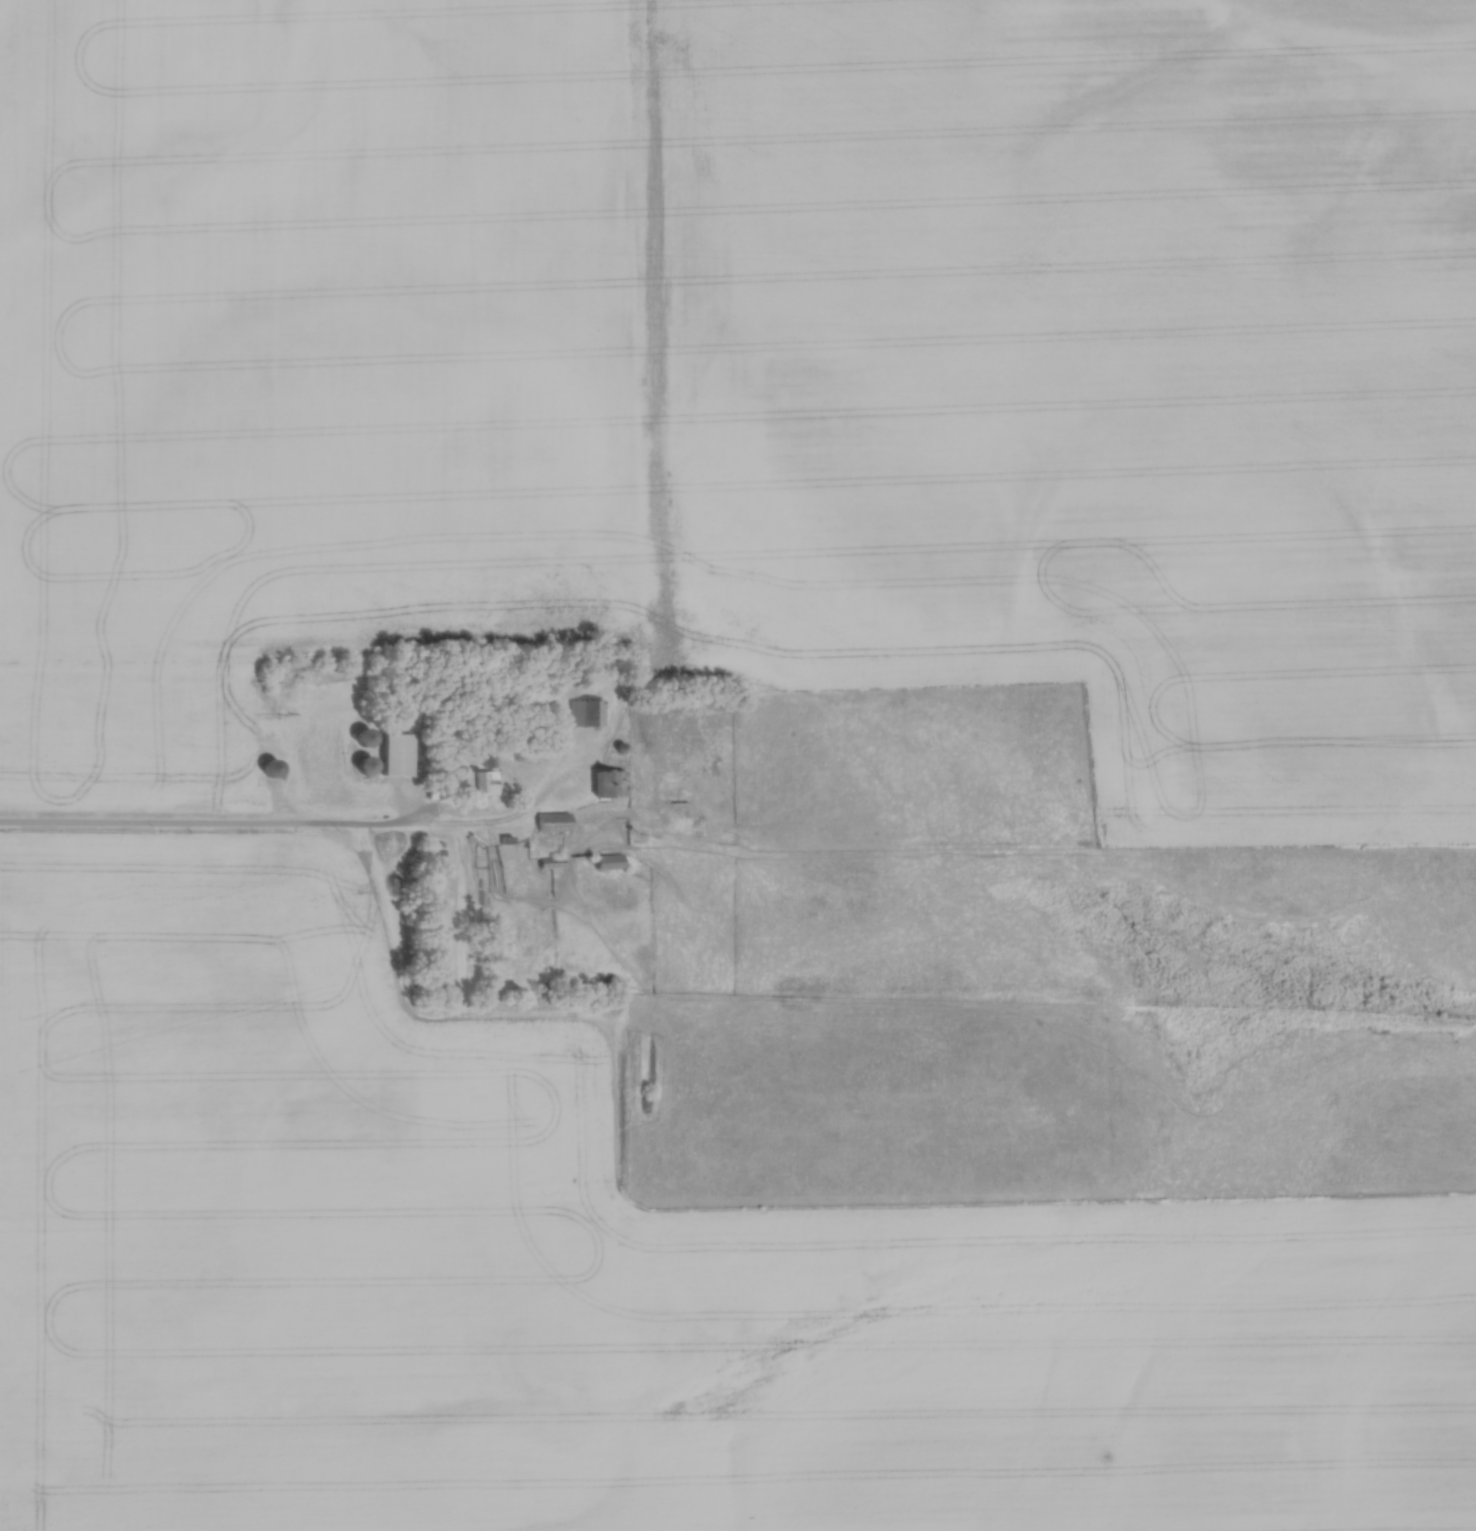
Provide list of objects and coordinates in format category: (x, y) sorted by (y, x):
building: (584, 711)
building: (395, 754)
building: (479, 781)
building: (552, 820)
road: (278, 827)
building: (609, 859)

